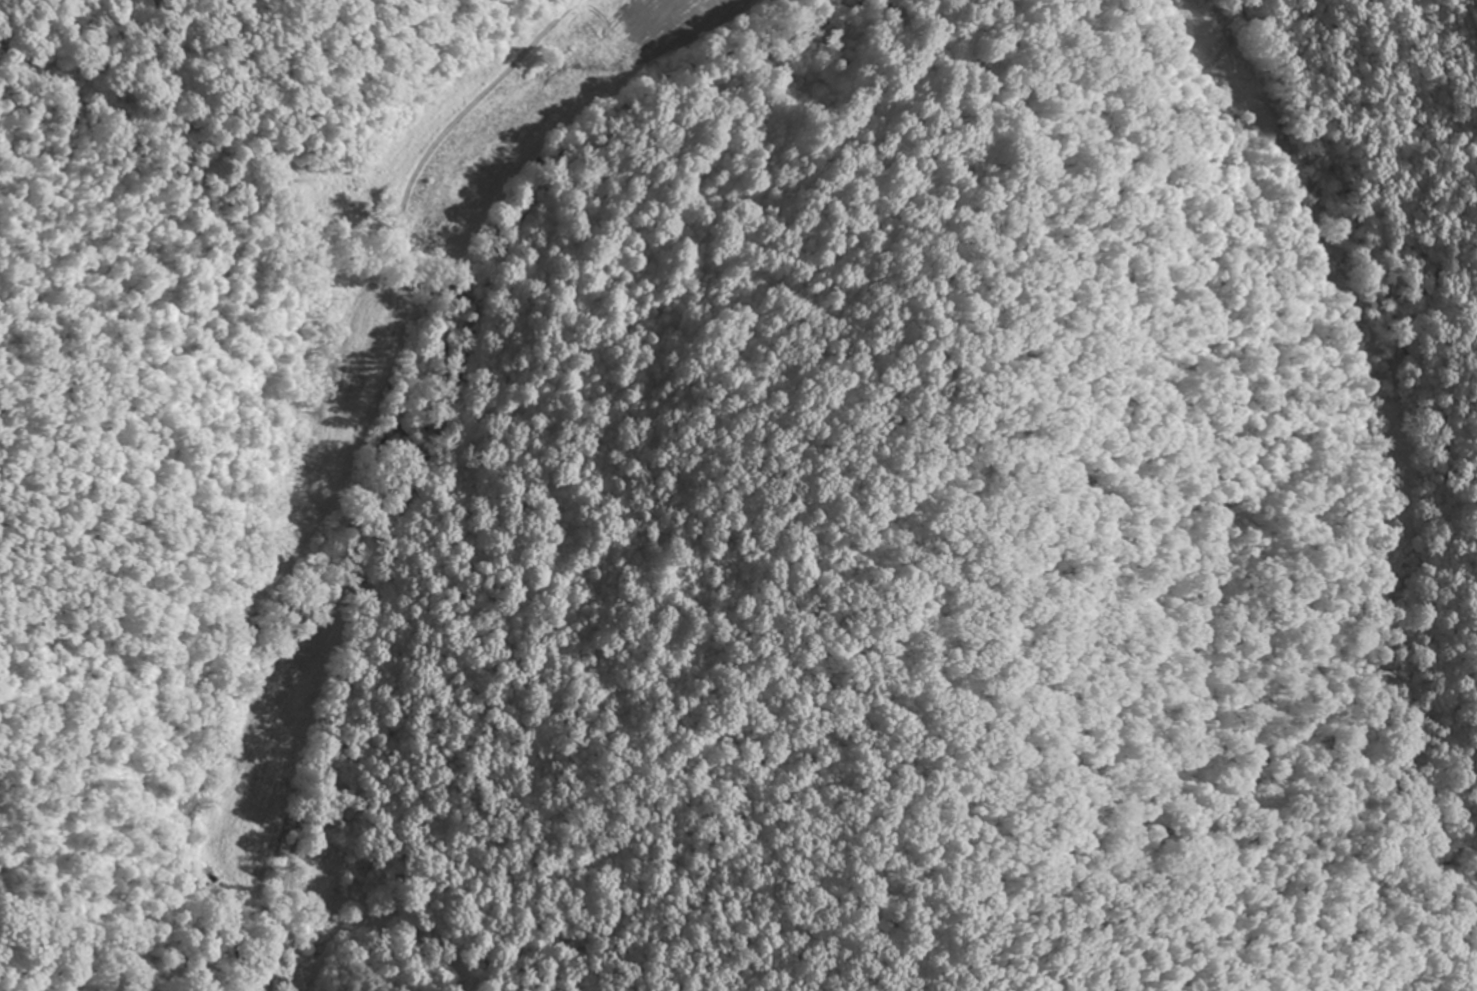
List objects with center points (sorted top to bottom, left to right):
park: (231, 57)

